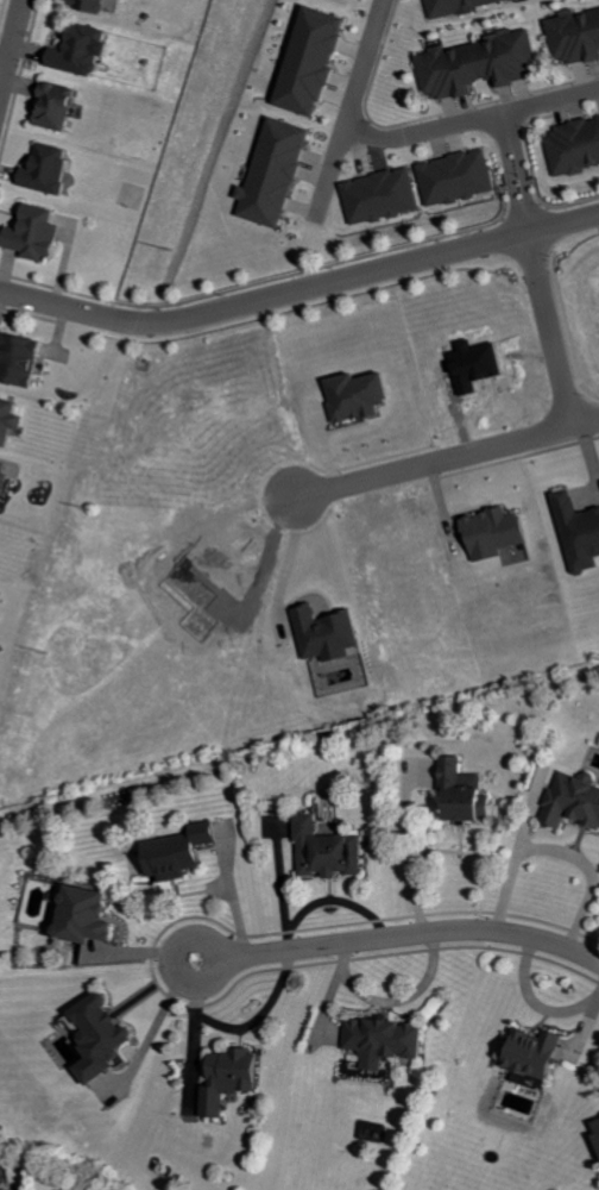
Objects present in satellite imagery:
building: (95, 4)
building: (458, 6)
building: (578, 35)
road: (10, 43)
building: (87, 50)
building: (316, 59)
building: (481, 63)
building: (62, 105)
road: (349, 107)
road: (471, 123)
building: (574, 145)
building: (53, 168)
building: (279, 173)
building: (459, 176)
building: (383, 195)
building: (43, 233)
road: (534, 273)
road: (299, 284)
building: (26, 358)
building: (362, 396)
building: (12, 419)
road: (449, 459)
building: (6, 477)
building: (580, 531)
building: (499, 532)
building: (330, 633)
building: (574, 798)
road: (560, 845)
road: (408, 847)
building: (333, 850)
building: (184, 851)
building: (90, 915)
road: (412, 934)
road: (219, 972)
building: (106, 1036)
building: (391, 1040)
building: (542, 1053)
building: (237, 1078)
building: (598, 1122)
building: (7, 1189)

